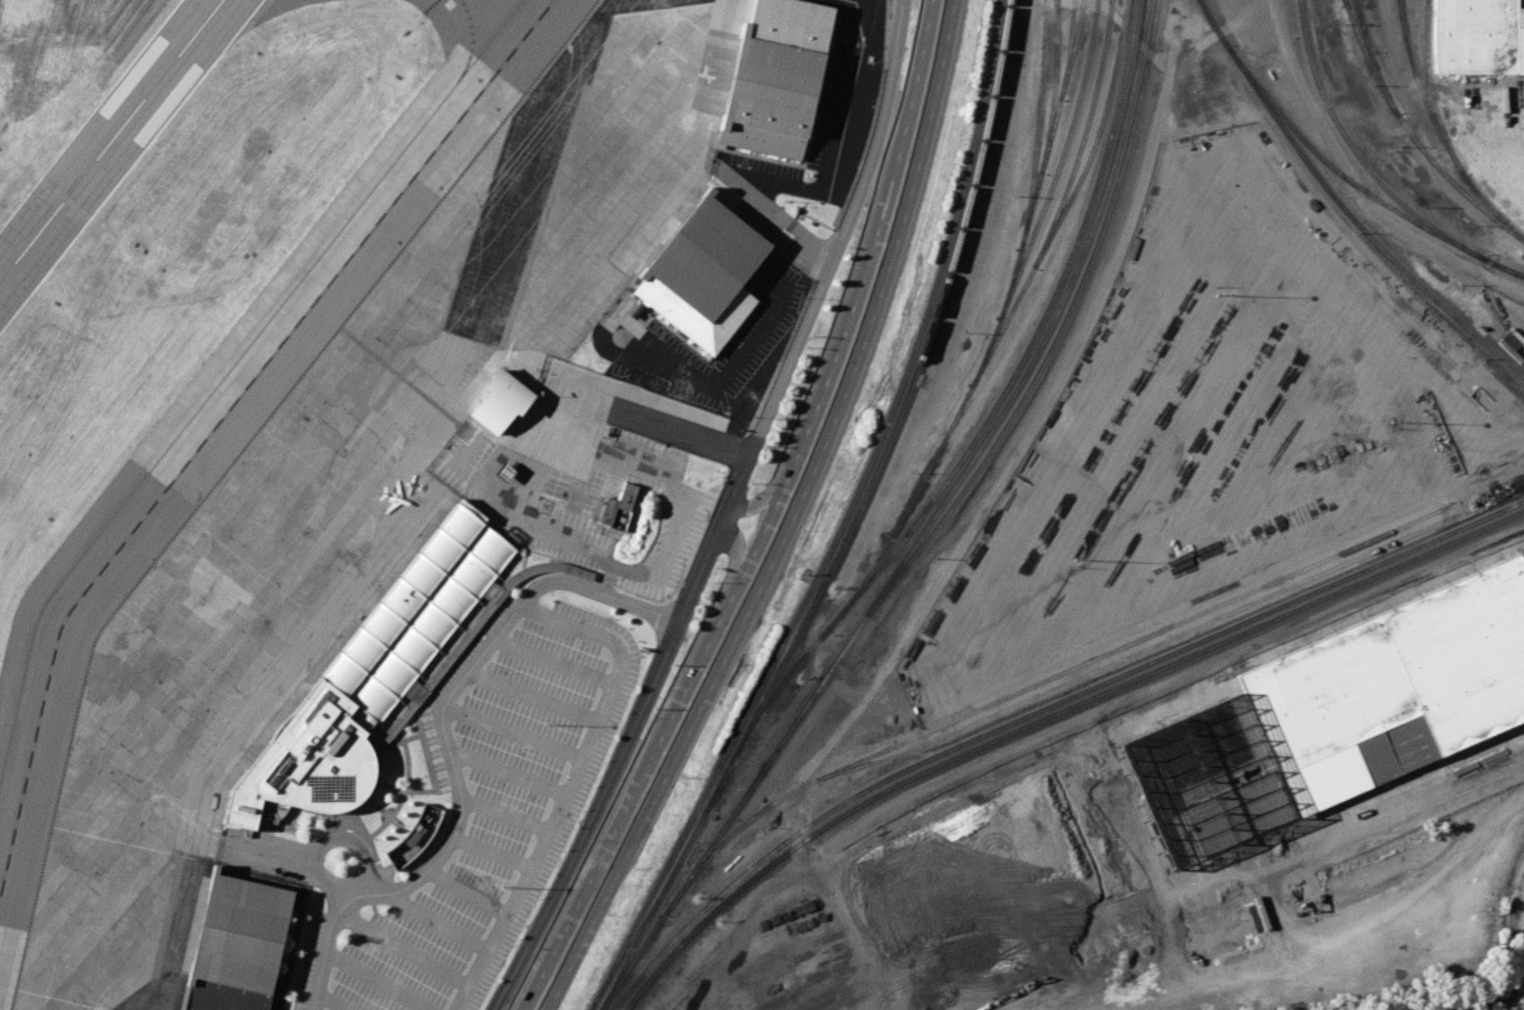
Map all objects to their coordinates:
railway: (1345, 3)
airport taxiway: (58, 7)
building: (790, 23)
railway: (1363, 27)
road: (1125, 29)
building: (1478, 37)
railway: (1071, 49)
road: (1026, 52)
railway: (1372, 59)
railway: (1061, 87)
railway: (1431, 91)
airport hangar: (769, 96)
building: (769, 96)
railway: (1048, 126)
railway: (1438, 131)
railway: (1412, 137)
railway: (1096, 139)
airport runway: (110, 140)
railway: (1355, 154)
railway: (1059, 162)
railway: (1343, 176)
road: (1355, 186)
railway: (1062, 201)
railway: (1340, 207)
road: (785, 217)
road: (876, 239)
road: (890, 267)
railway: (1509, 269)
railway: (1509, 270)
airport hangar: (703, 273)
building: (703, 273)
road: (807, 315)
railway: (1056, 328)
railway: (1031, 338)
building: (1508, 342)
airport taxiway: (225, 373)
airport: (349, 382)
road: (708, 384)
building: (499, 400)
parking lot: (535, 408)
road: (621, 410)
railway: (952, 420)
railway: (889, 439)
parking lot: (451, 444)
road: (504, 449)
road: (469, 450)
parking lot: (482, 452)
building: (503, 471)
parking lot: (598, 476)
parking lot: (642, 481)
road: (523, 484)
parking lot: (554, 485)
airport apron: (332, 491)
parking lot: (463, 491)
road: (676, 492)
road: (993, 492)
road: (765, 498)
building: (617, 506)
railway: (840, 522)
parking lot: (660, 526)
parking lot: (584, 527)
railway: (923, 527)
road: (541, 530)
parking lot: (688, 543)
road: (526, 548)
parking lot: (562, 552)
road: (735, 558)
road: (1254, 576)
road: (604, 581)
road: (522, 584)
road: (679, 584)
road: (492, 589)
parking lot: (495, 614)
road: (471, 629)
road: (481, 635)
railway: (1138, 653)
road: (553, 661)
building: (440, 667)
parking lot: (453, 667)
building: (368, 677)
railway: (1039, 682)
building: (1397, 683)
road: (414, 688)
road: (533, 696)
railway: (1040, 709)
road: (675, 710)
road: (392, 715)
railway: (1047, 717)
road: (430, 730)
road: (514, 732)
road: (371, 740)
road: (446, 745)
road: (405, 747)
parking lot: (433, 751)
road: (424, 753)
road: (666, 767)
road: (507, 773)
road: (572, 784)
road: (415, 790)
road: (1437, 796)
road: (378, 807)
road: (298, 809)
road: (505, 813)
parking lot: (500, 814)
road: (592, 819)
road: (347, 822)
flagpole: (400, 825)
road: (366, 835)
building: (414, 835)
road: (314, 851)
road: (491, 854)
road: (268, 855)
road: (374, 878)
road: (348, 891)
road: (467, 892)
road: (372, 898)
road: (373, 907)
road: (439, 921)
railway: (639, 929)
railway: (644, 929)
road: (1338, 936)
airport hangar: (236, 945)
building: (236, 945)
road: (402, 949)
parking lot: (309, 960)
road: (540, 978)
road: (377, 980)
road: (330, 1001)

